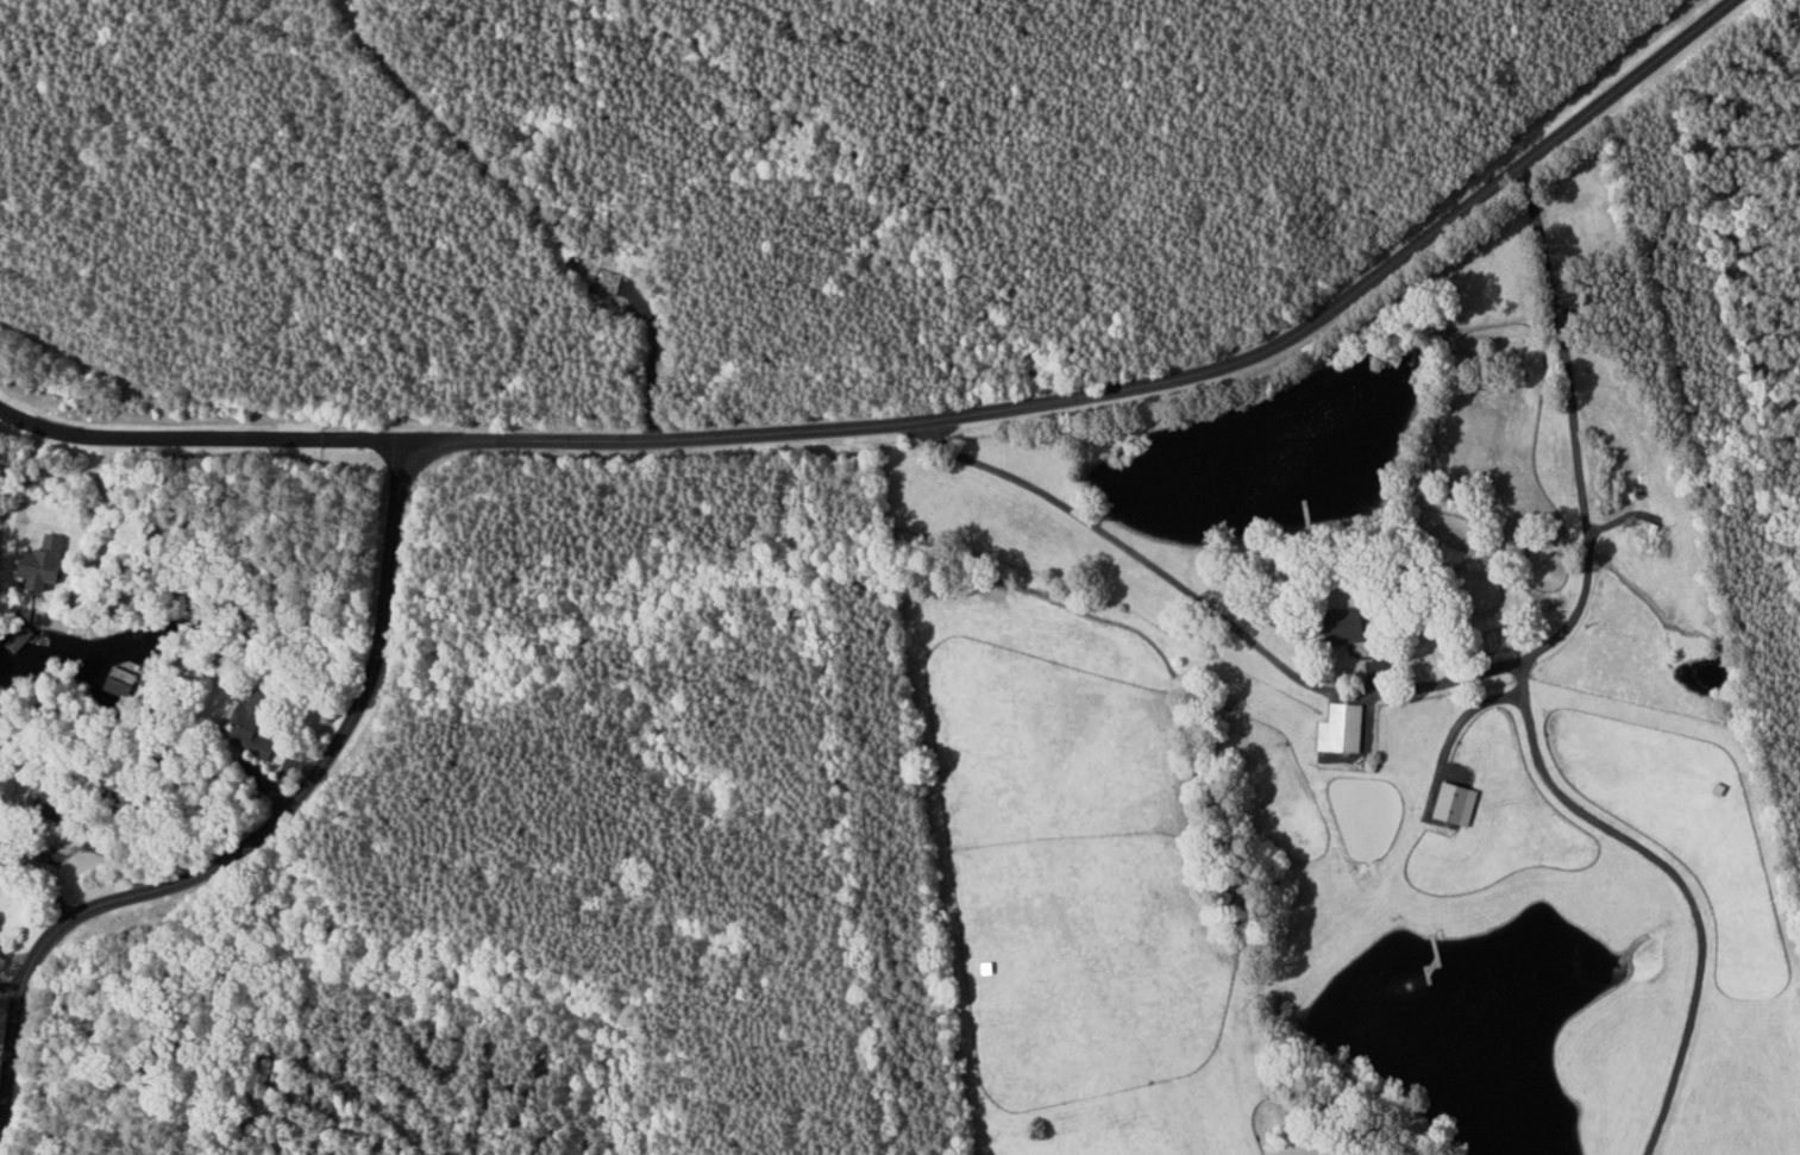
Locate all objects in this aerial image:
road: (195, 441)
road: (697, 441)
building: (45, 563)
building: (1334, 624)
building: (26, 640)
building: (1336, 728)
building: (256, 729)
building: (1449, 803)

